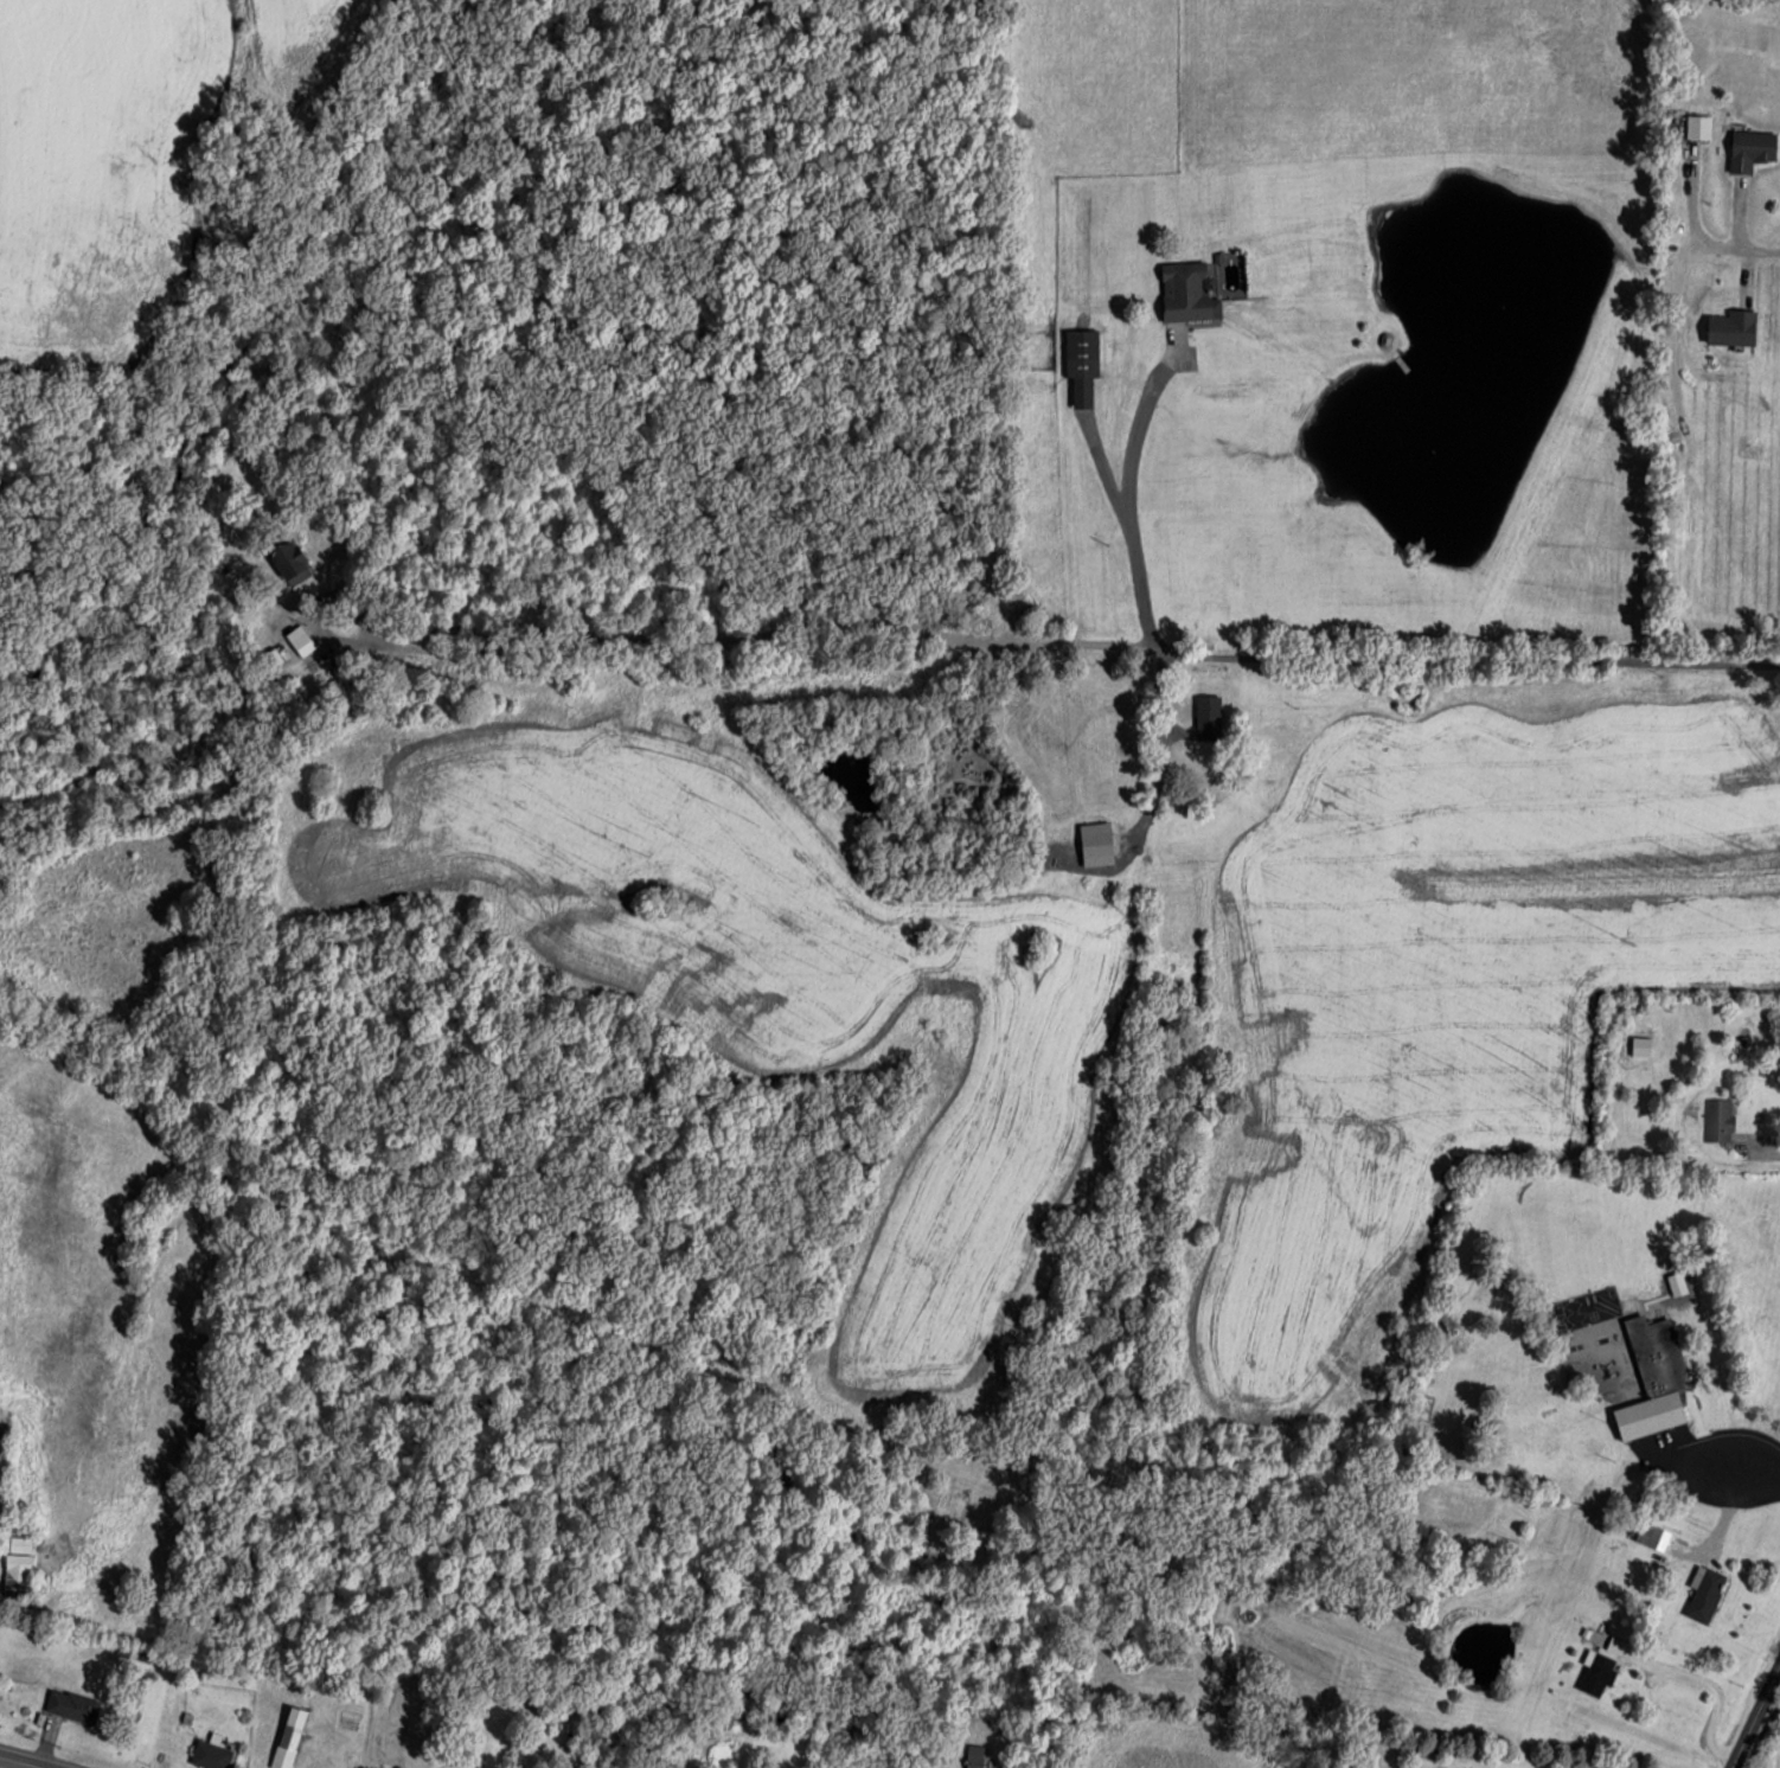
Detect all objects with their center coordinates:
building: (1698, 127)
building: (1750, 149)
road: (1743, 246)
building: (1186, 292)
building: (1731, 326)
building: (1081, 361)
road: (1131, 508)
building: (290, 562)
building: (303, 643)
road: (1319, 652)
building: (1206, 728)
building: (1718, 1120)
building: (1653, 1381)
building: (1658, 1538)
building: (18, 1567)
building: (1704, 1594)
building: (1596, 1672)
building: (71, 1705)
road: (1754, 1711)
building: (844, 1724)
building: (289, 1737)
building: (211, 1755)
building: (974, 1756)
road: (25, 1761)

